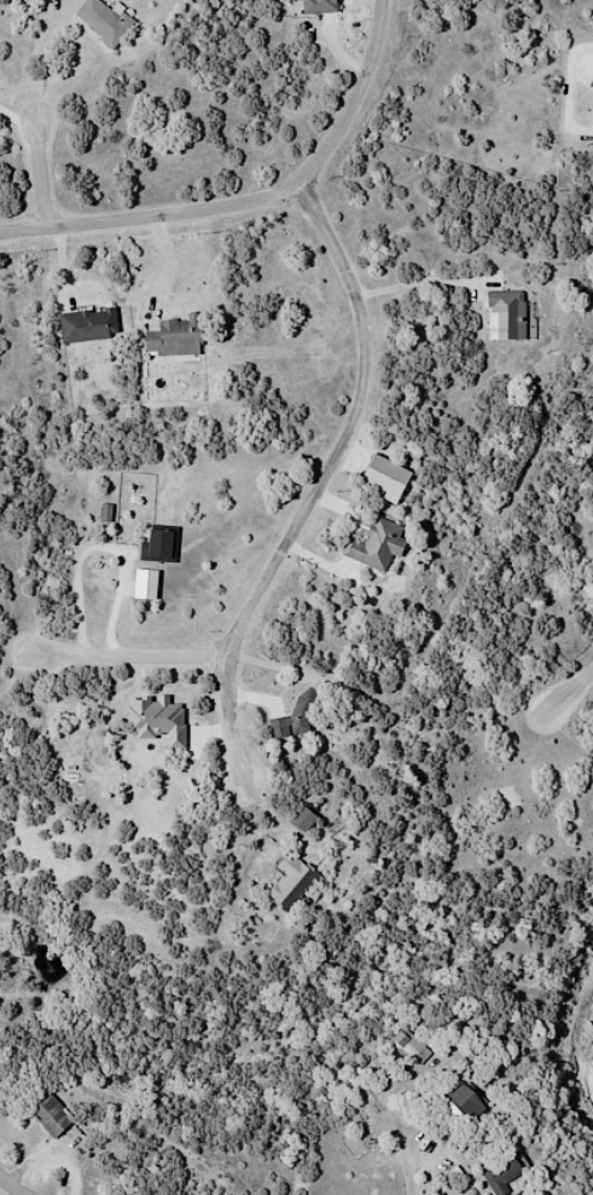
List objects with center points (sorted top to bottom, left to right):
building: (320, 6)
building: (101, 21)
building: (591, 83)
building: (592, 132)
road: (40, 163)
road: (252, 200)
building: (505, 314)
building: (87, 325)
building: (174, 337)
road: (322, 485)
building: (158, 543)
building: (376, 544)
road: (128, 653)
road: (571, 694)
building: (295, 715)
building: (302, 818)
building: (291, 882)
building: (406, 1044)
building: (464, 1102)
building: (50, 1115)
road: (441, 1166)
building: (502, 1176)
road: (16, 1180)

